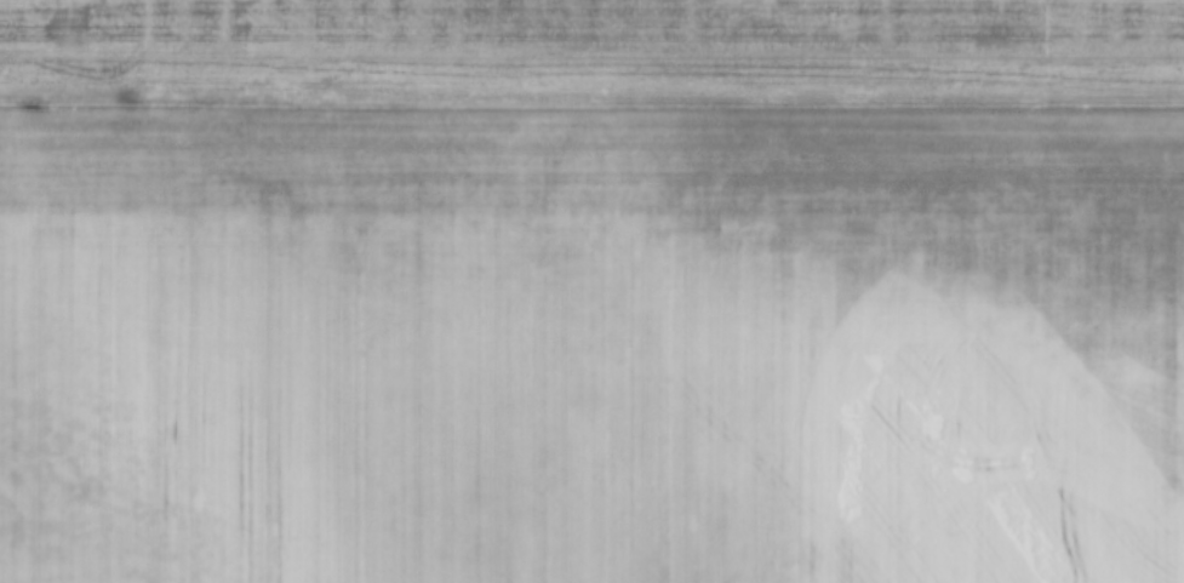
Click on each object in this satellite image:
road: (591, 107)

